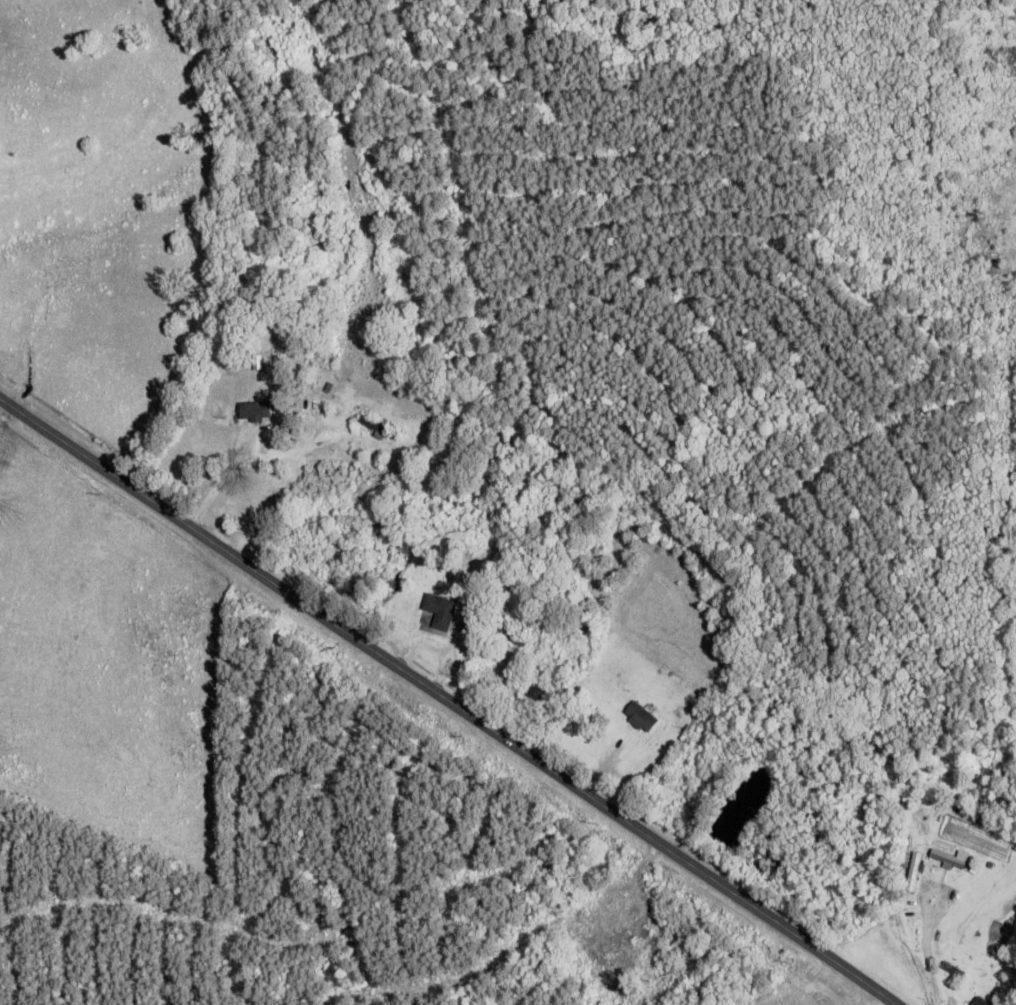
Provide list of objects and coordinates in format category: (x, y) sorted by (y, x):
building: (322, 359)
building: (257, 411)
building: (479, 551)
building: (438, 613)
building: (535, 690)
road: (449, 698)
building: (641, 717)
building: (907, 853)
building: (949, 894)
building: (627, 929)
road: (926, 945)

